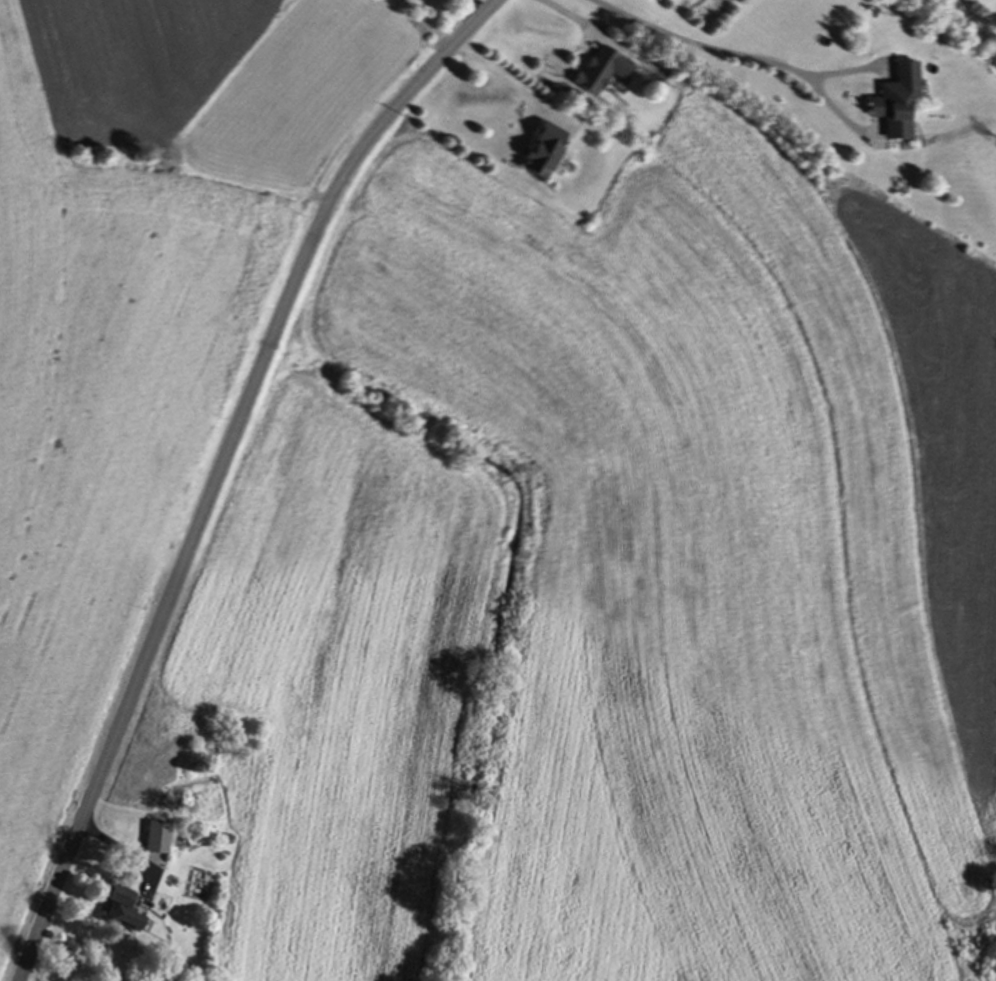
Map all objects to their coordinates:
road: (726, 59)
building: (604, 71)
road: (510, 82)
building: (895, 103)
building: (547, 152)
road: (222, 468)
building: (159, 840)
building: (123, 912)

